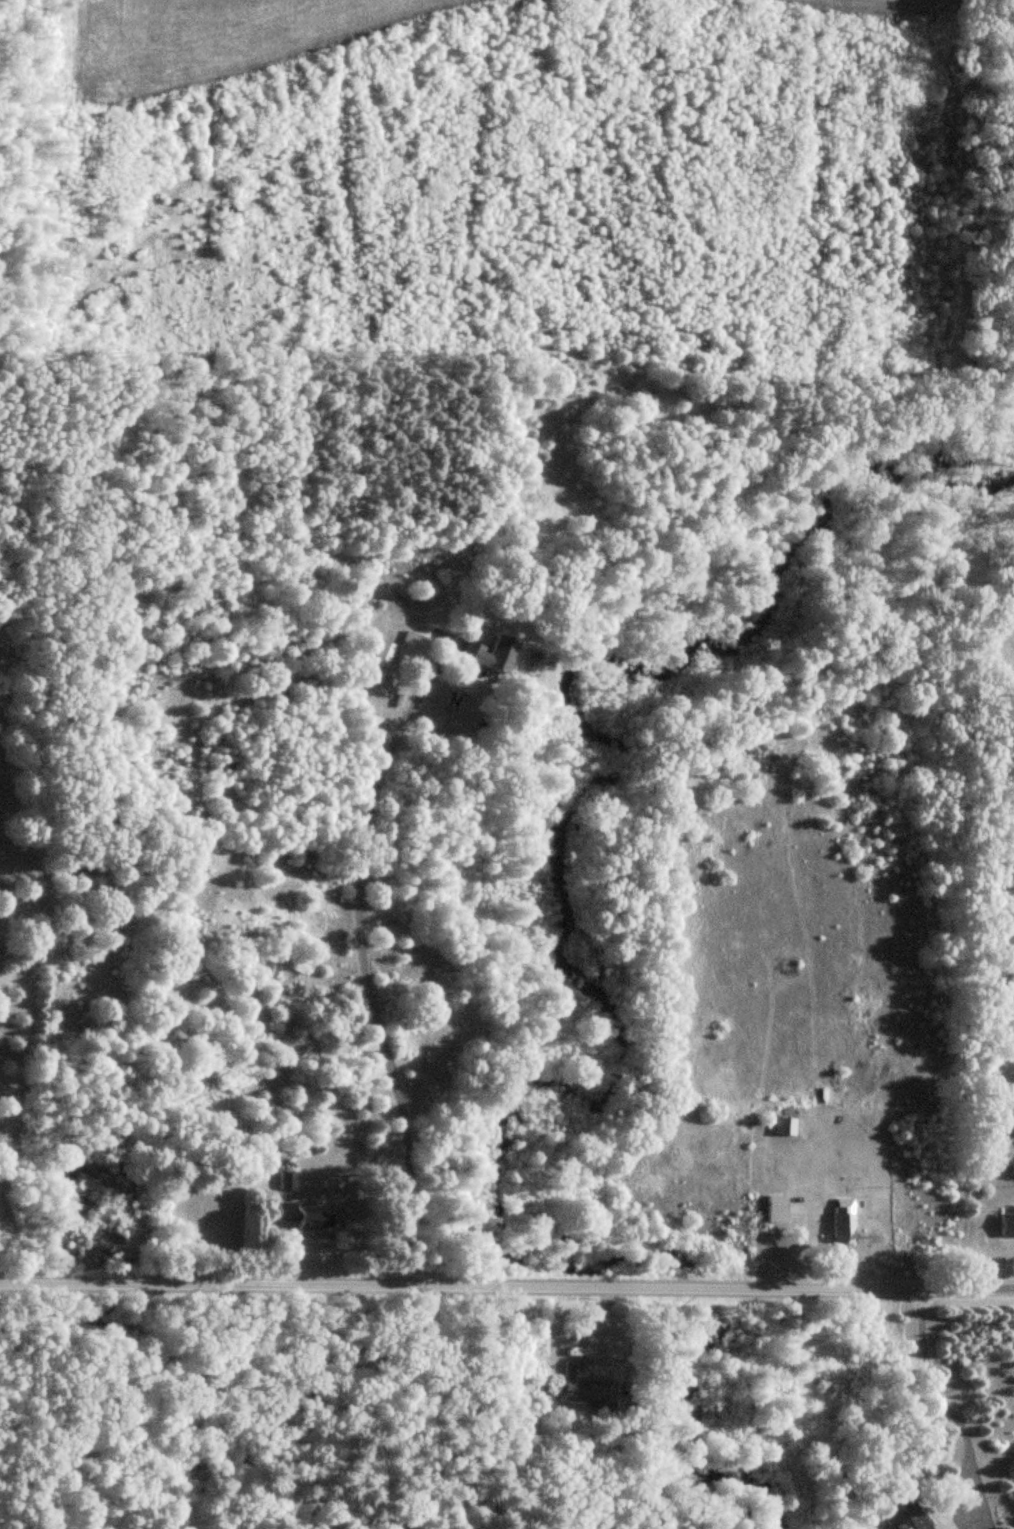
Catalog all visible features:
building: (414, 646)
building: (490, 652)
road: (123, 744)
road: (364, 965)
road: (19, 1063)
building: (785, 1126)
building: (288, 1179)
building: (777, 1209)
building: (307, 1219)
building: (844, 1221)
building: (1006, 1225)
road: (507, 1284)
building: (585, 1386)
road: (957, 1420)
building: (904, 1515)

